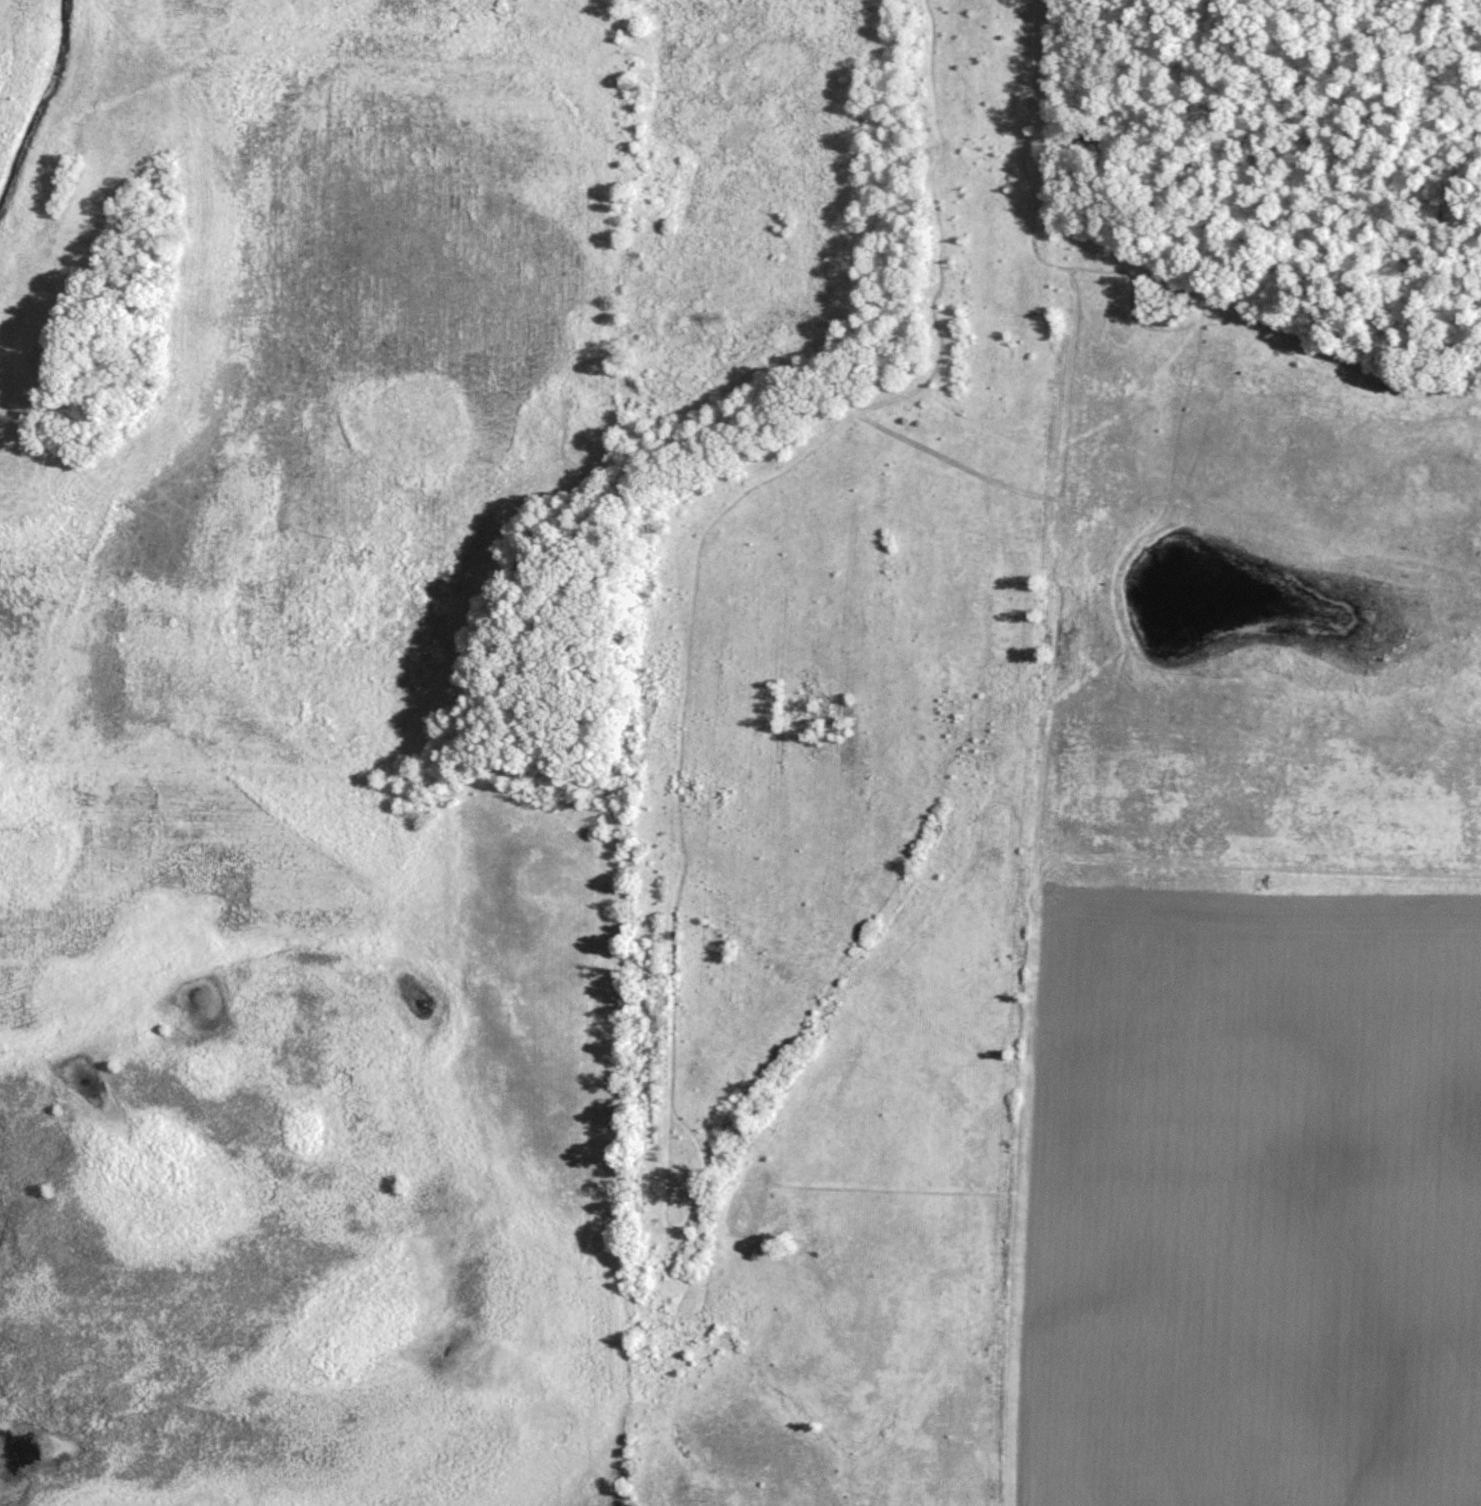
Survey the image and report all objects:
crop: (1259, 1206)

